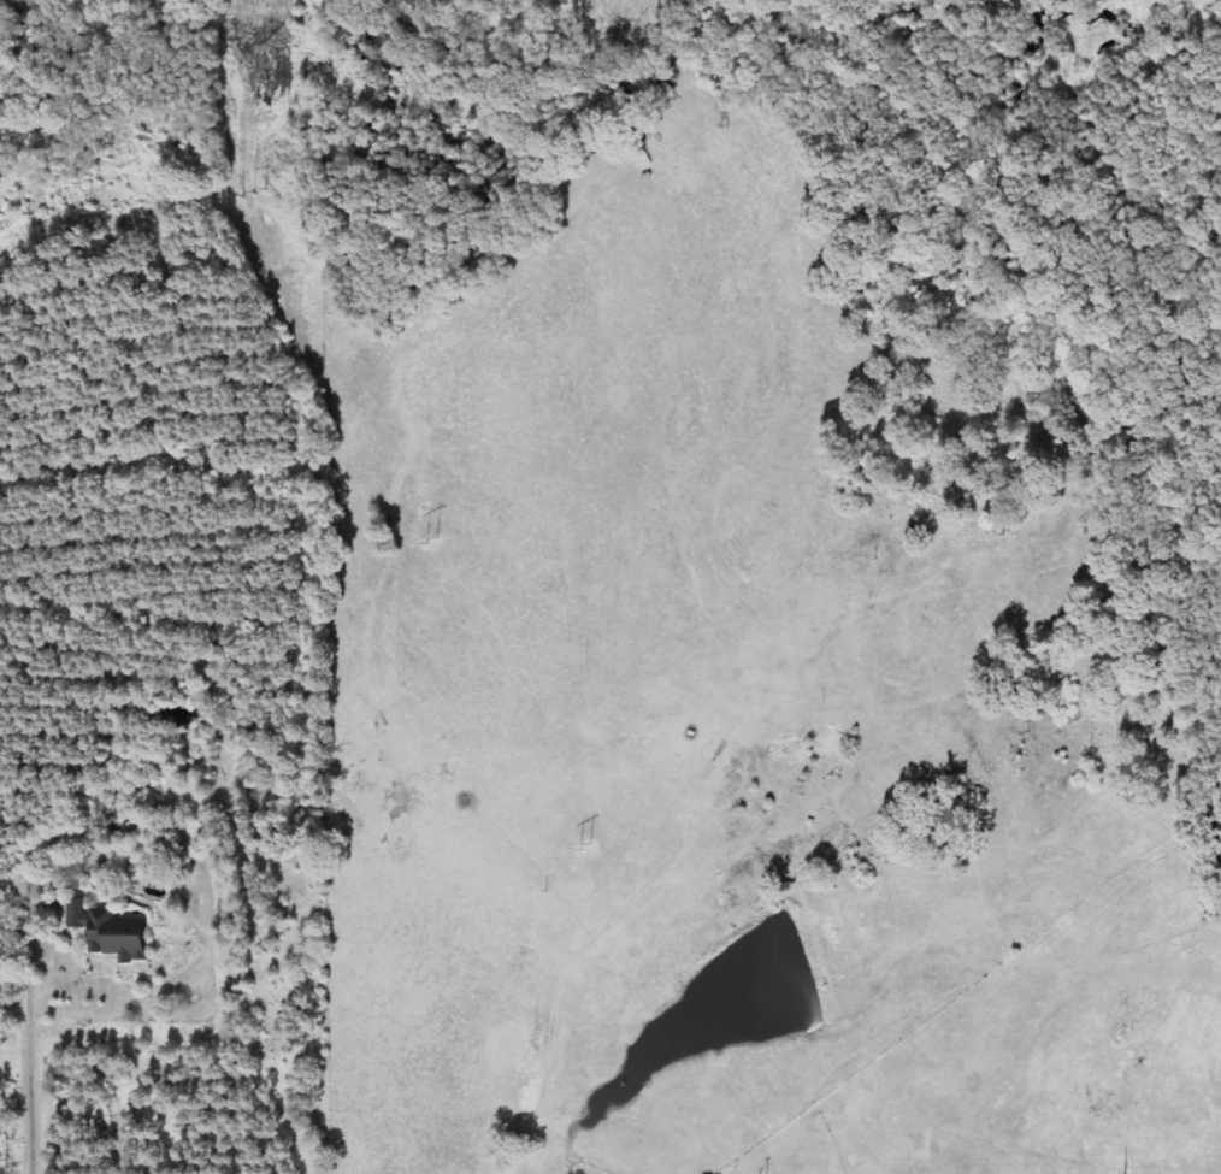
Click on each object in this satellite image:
building: (116, 931)
road: (33, 1054)

